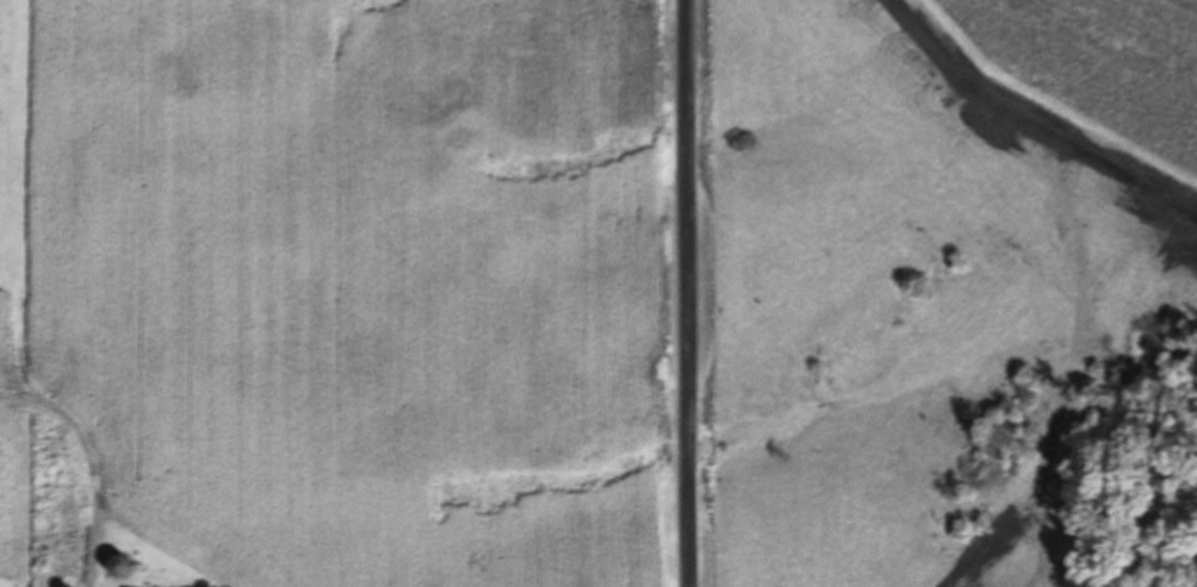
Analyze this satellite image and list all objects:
road: (688, 293)
building: (117, 566)

